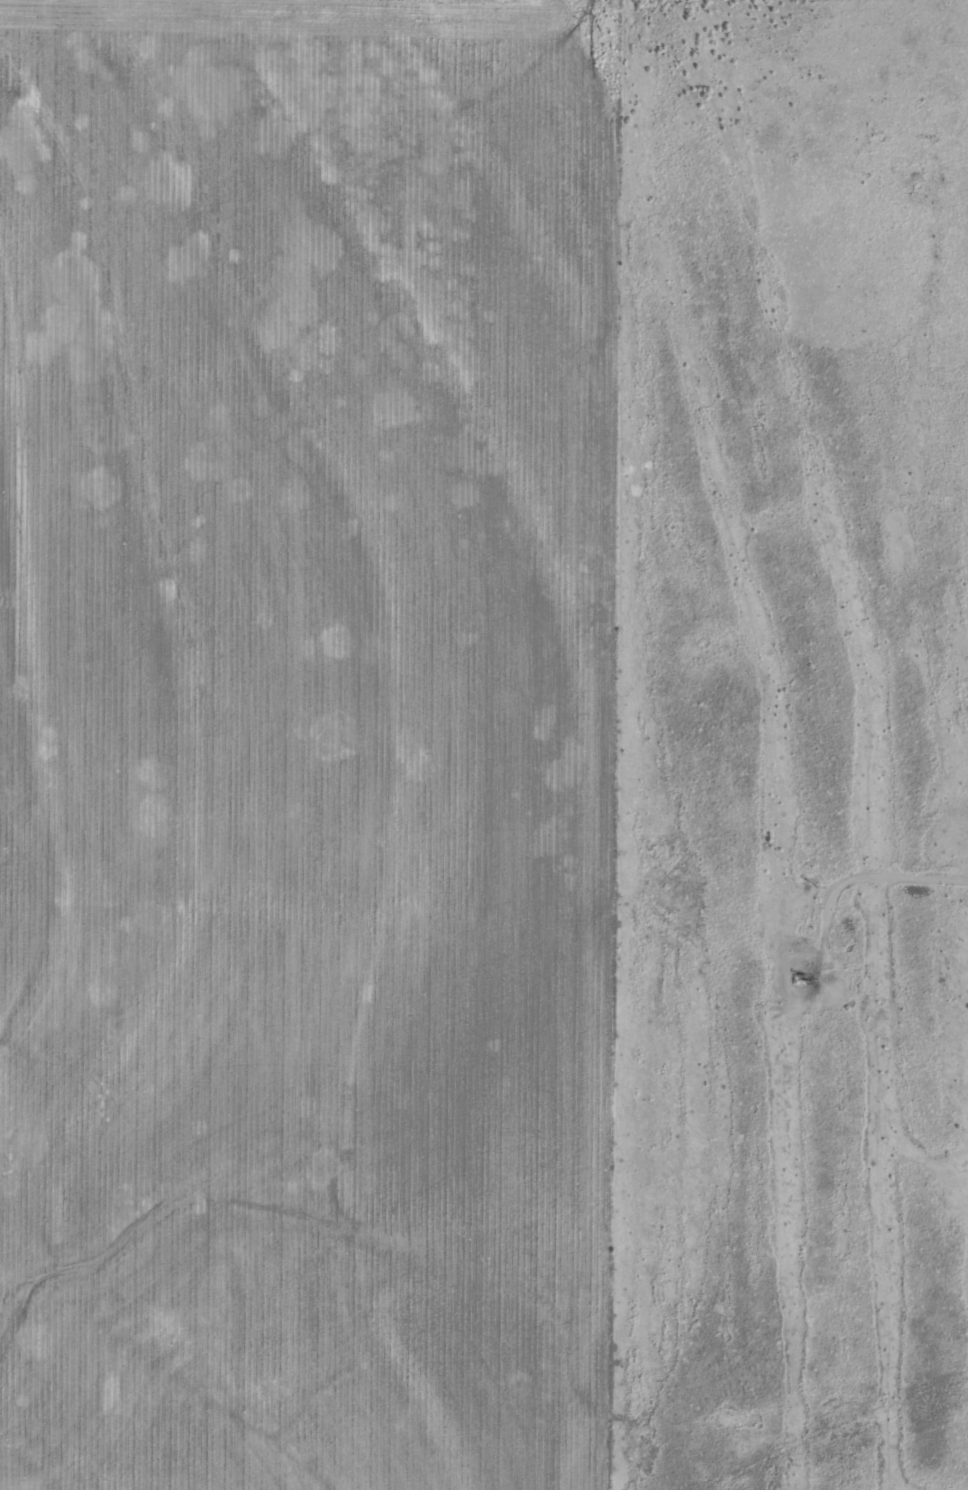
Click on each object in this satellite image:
road: (959, 155)
road: (93, 368)
road: (179, 895)
petroleum well: (806, 973)
road: (811, 1240)

